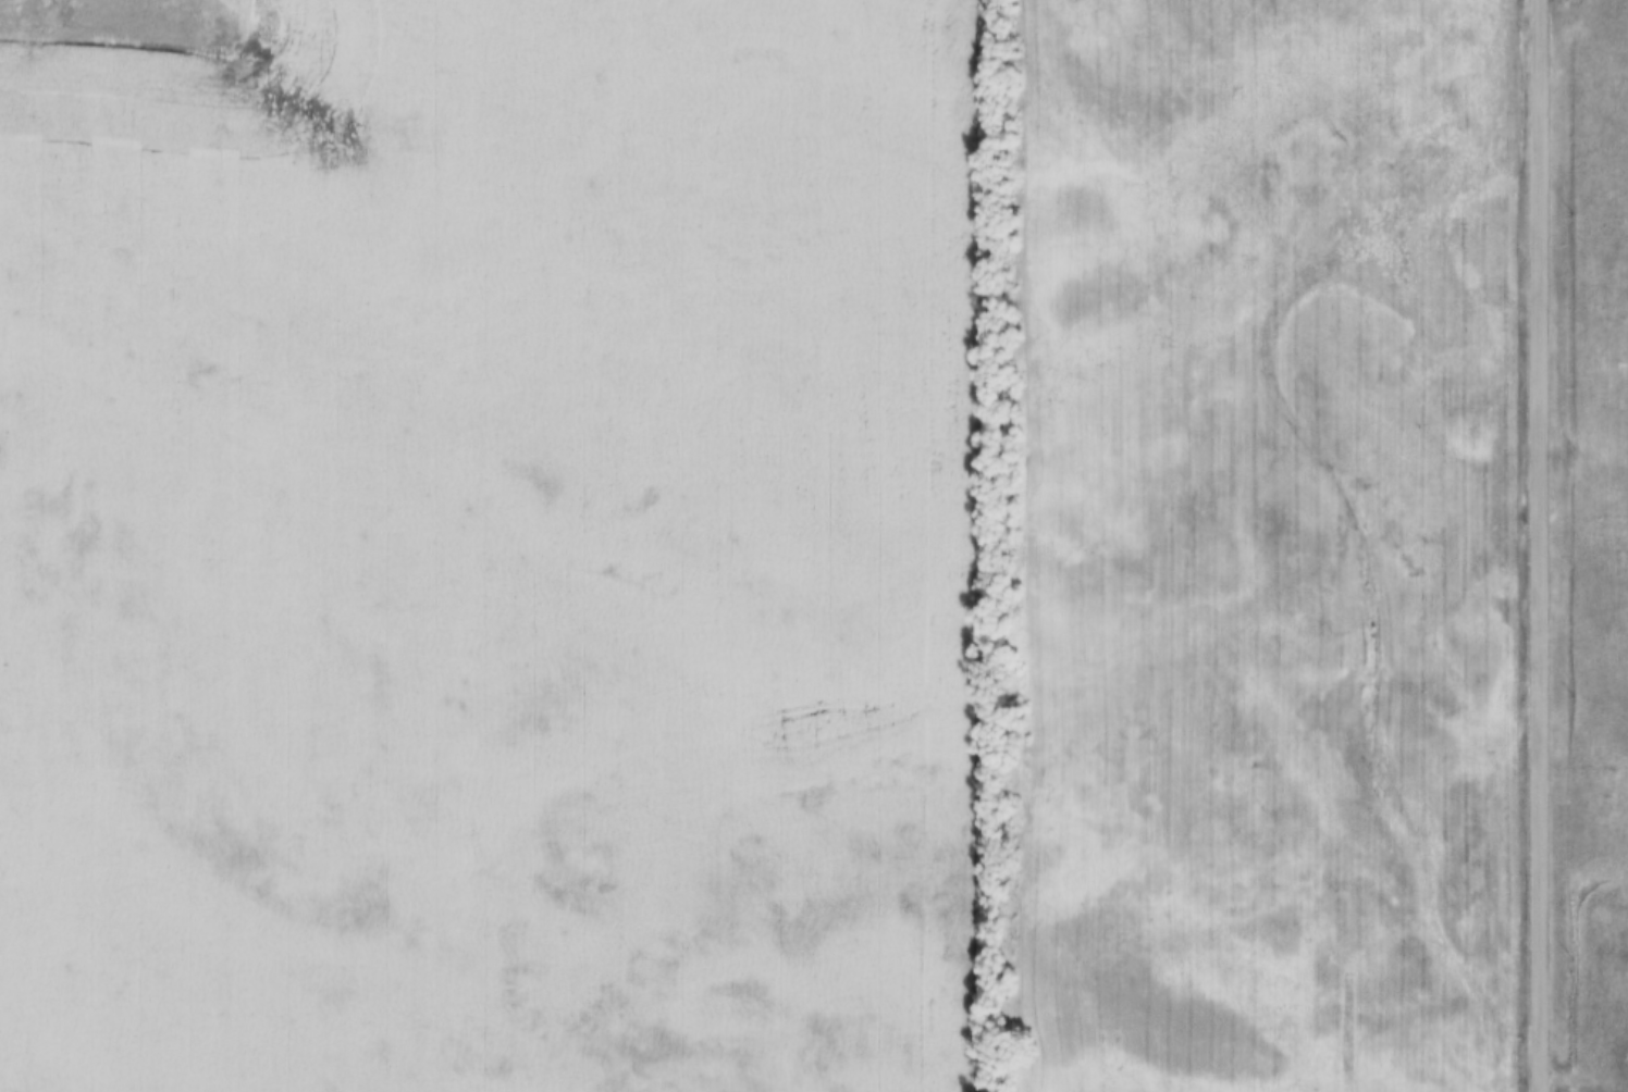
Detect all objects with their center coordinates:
road: (1537, 546)

